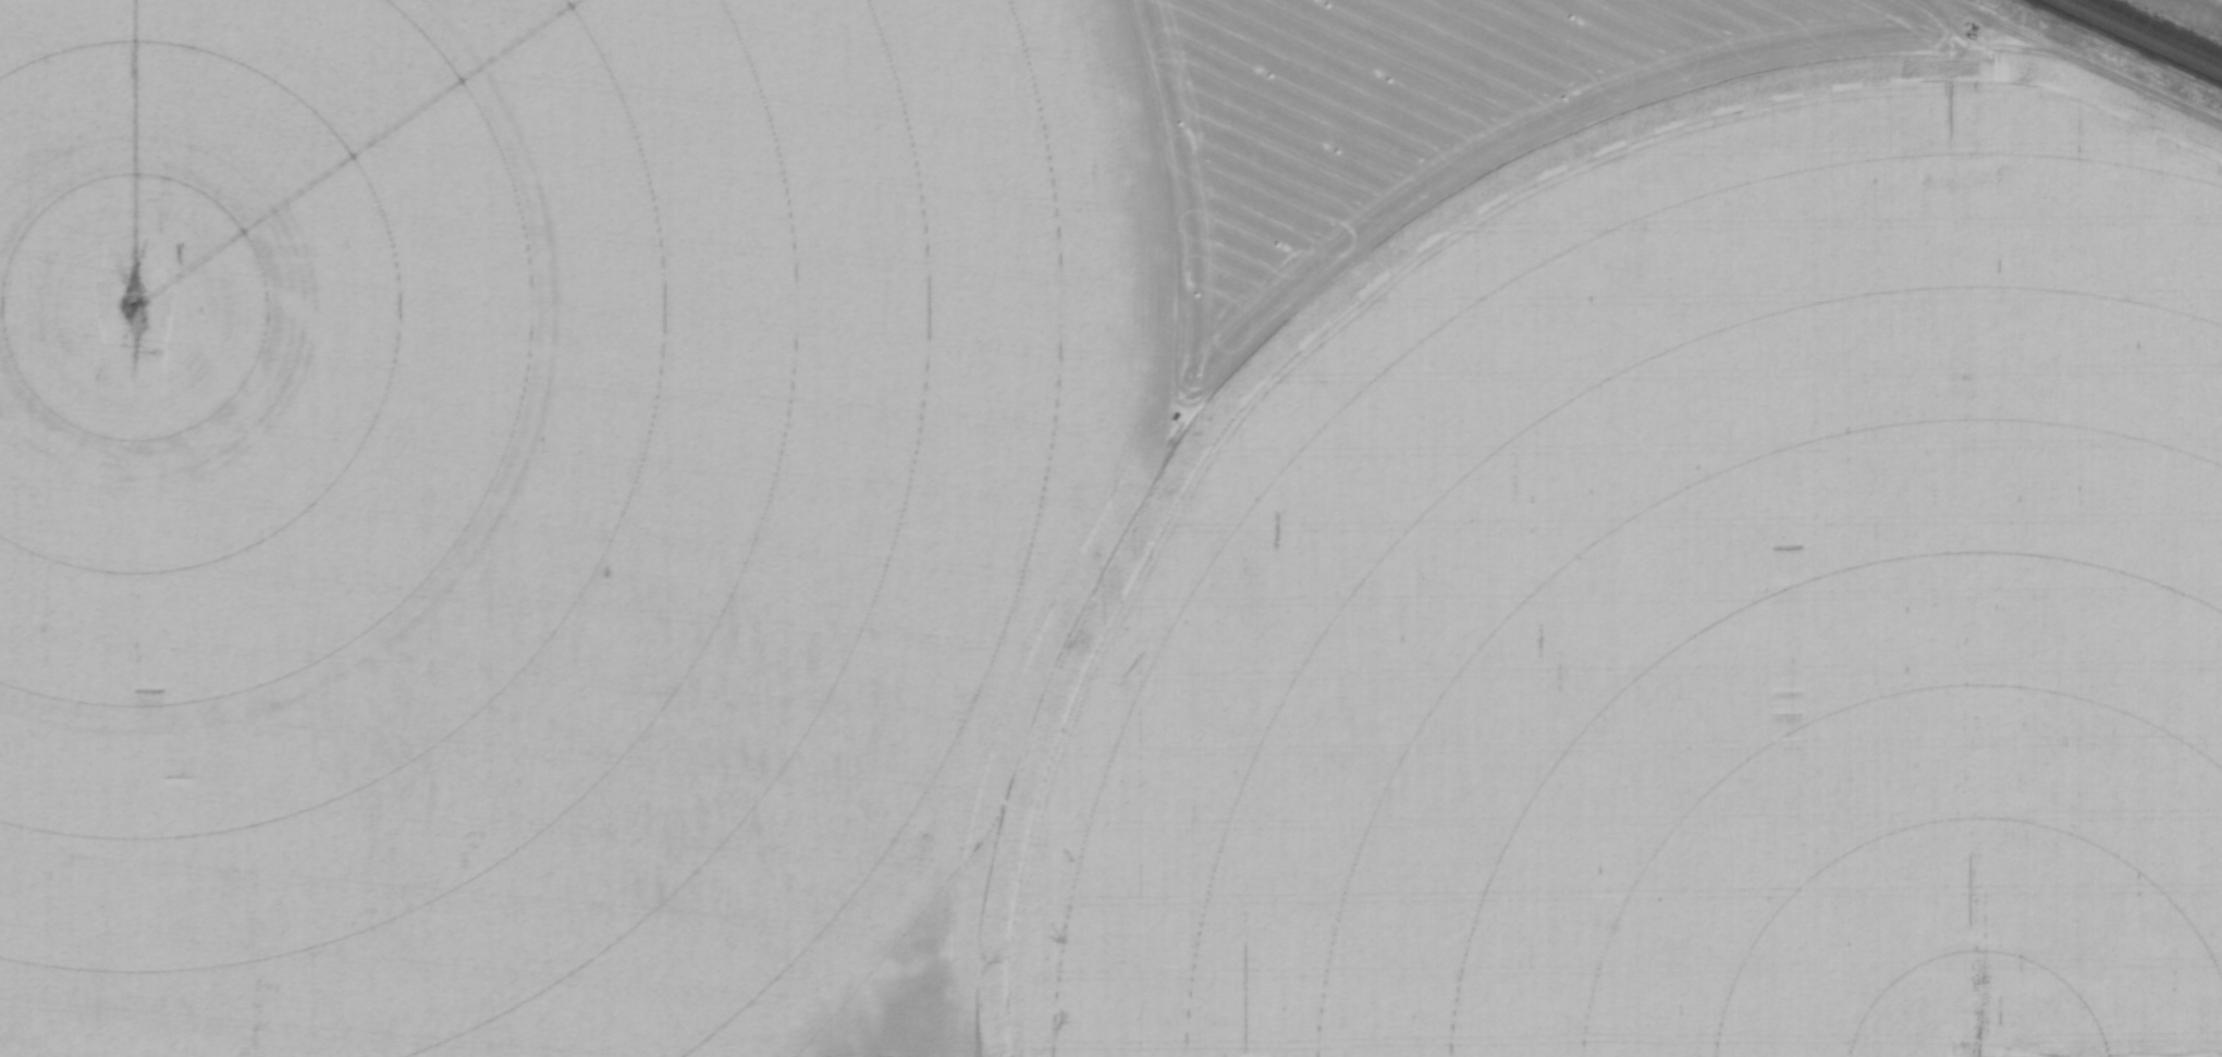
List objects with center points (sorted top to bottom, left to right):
railway: (2162, 26)
railway: (2143, 35)

